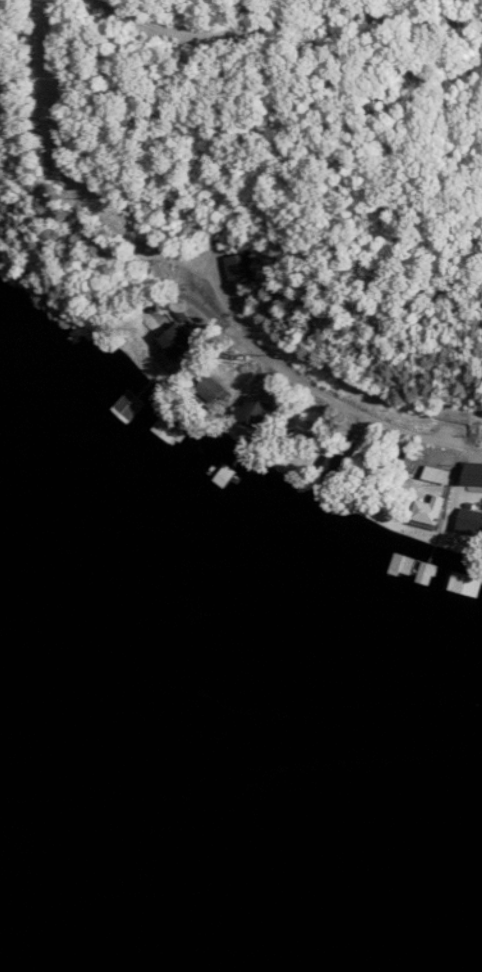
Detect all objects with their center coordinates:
road: (302, 20)
building: (245, 269)
building: (182, 344)
road: (332, 393)
building: (132, 406)
building: (262, 412)
building: (165, 429)
building: (337, 466)
building: (477, 474)
building: (435, 511)
building: (472, 522)
building: (380, 551)
river: (176, 856)

